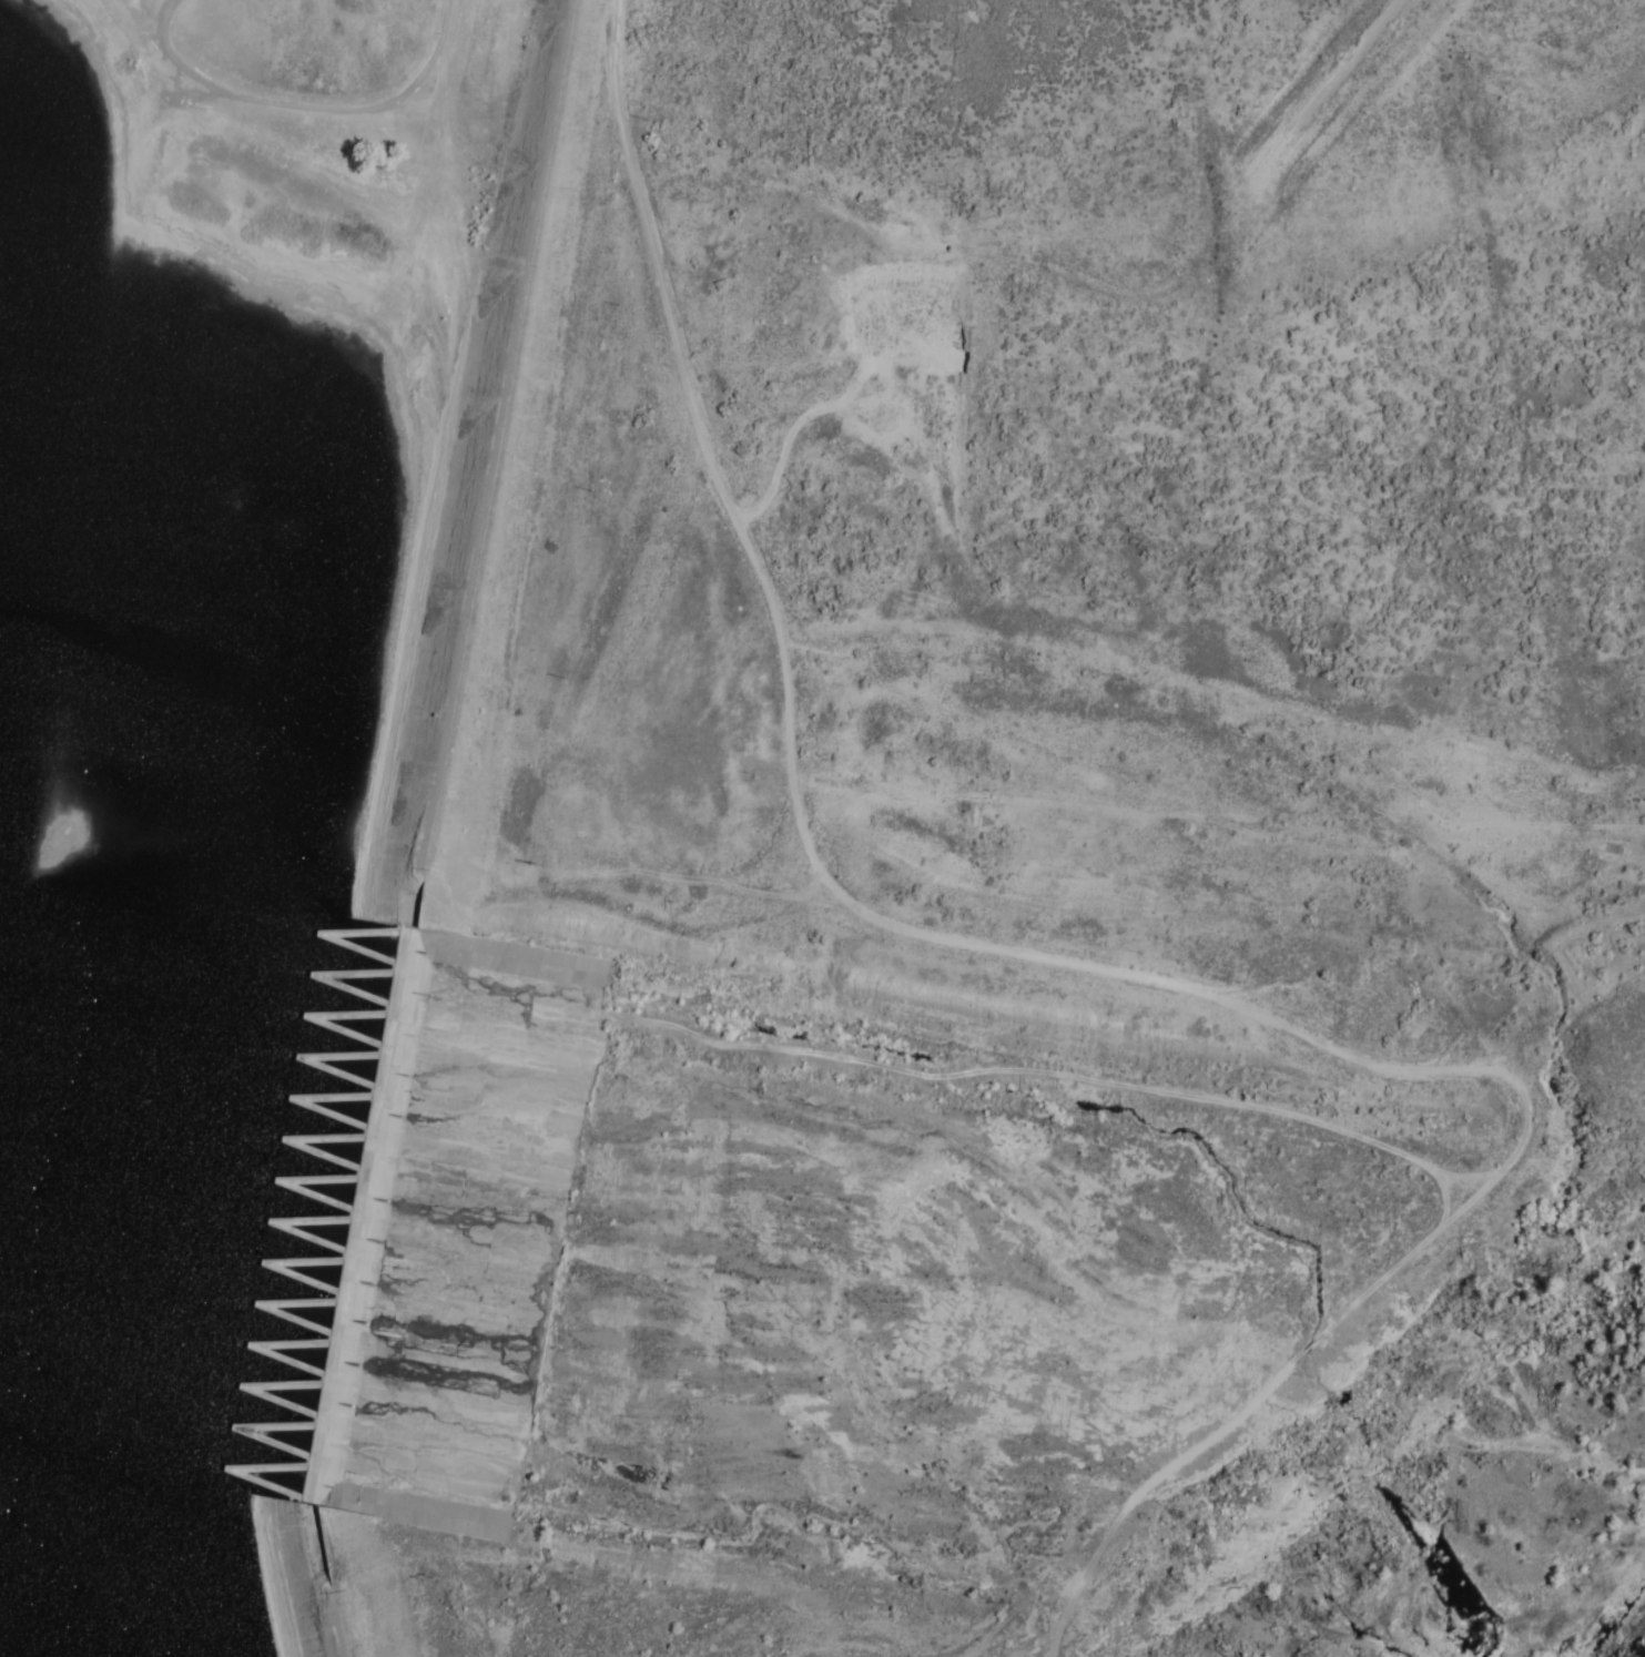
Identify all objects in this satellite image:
airport runway: (1351, 88)
road: (304, 109)
dam: (493, 465)
dam: (323, 1582)
river: (1591, 1600)

